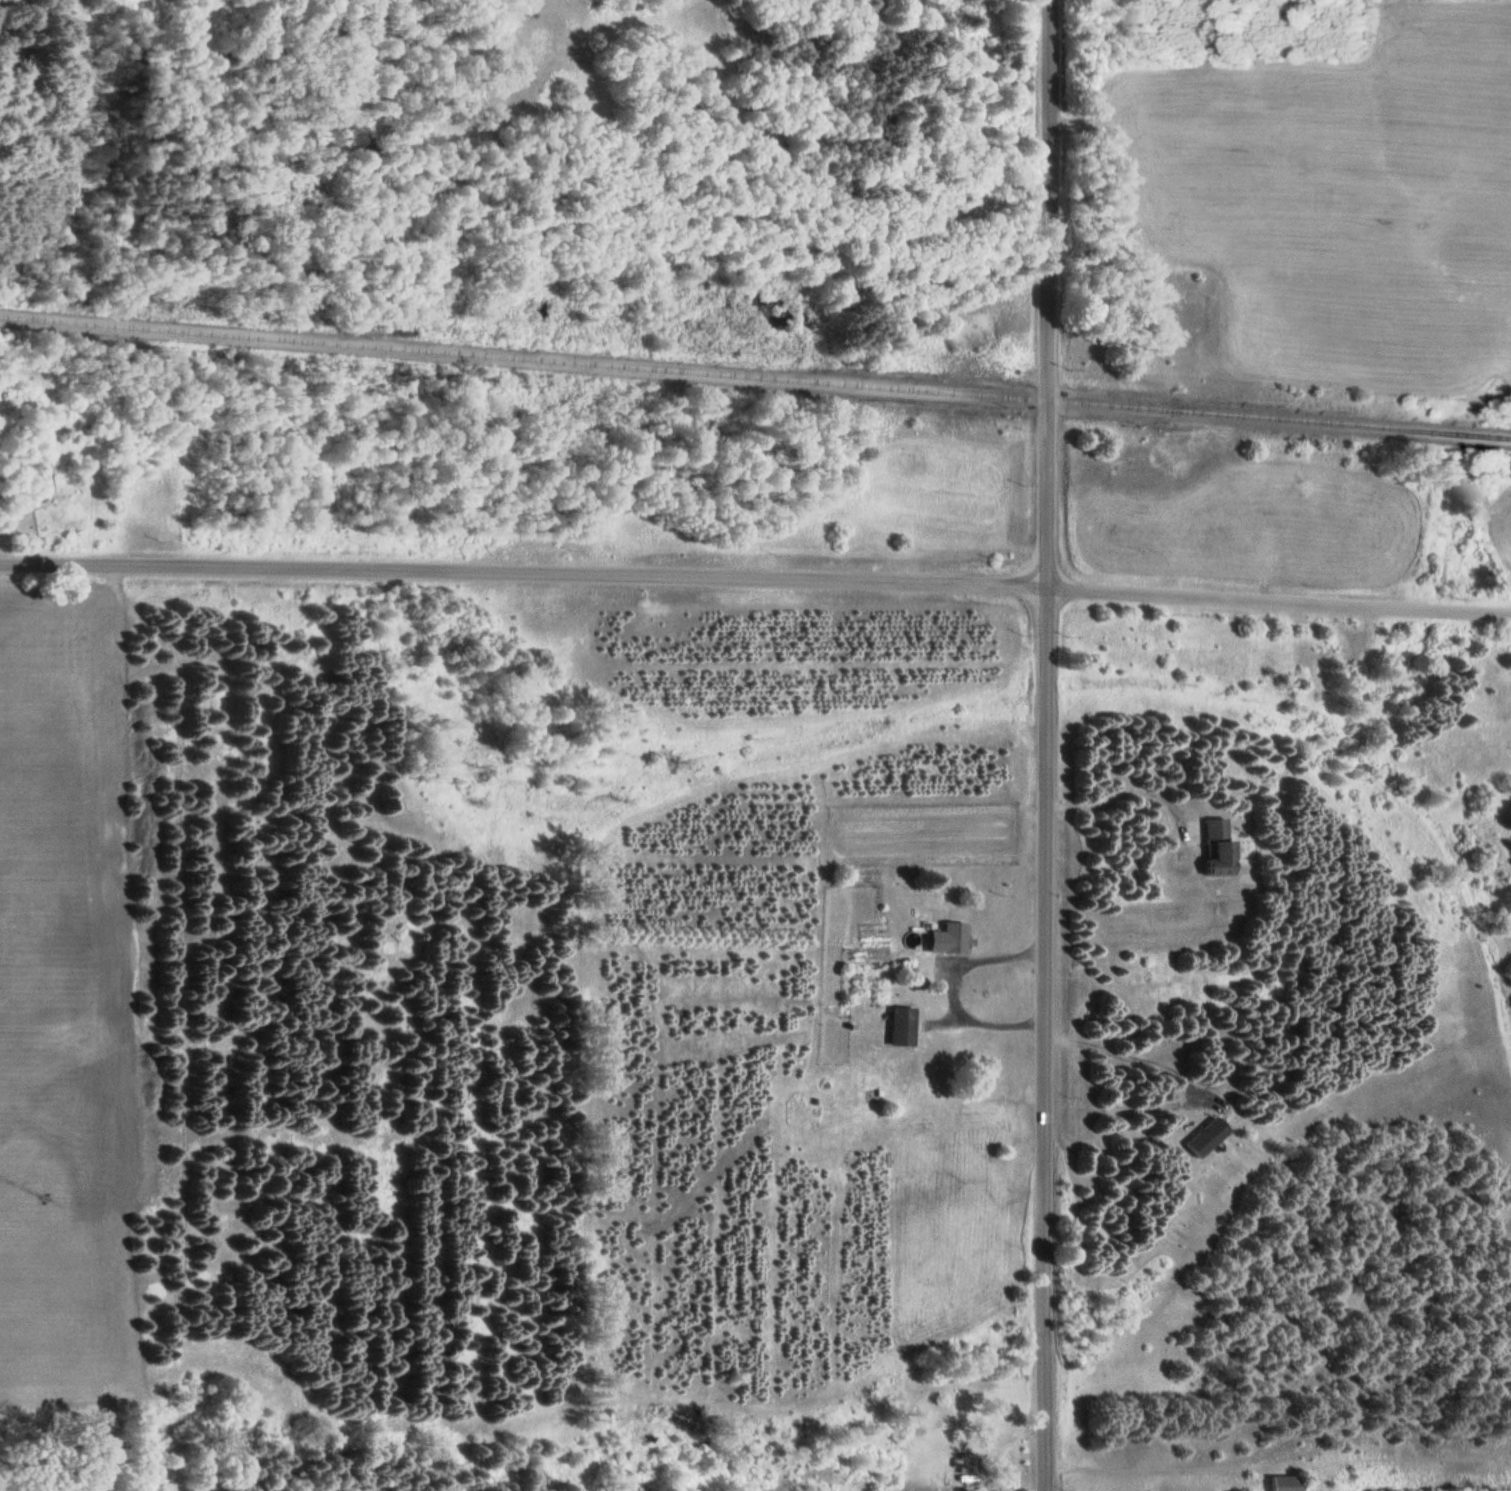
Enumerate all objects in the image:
road: (1044, 293)
railway: (755, 377)
road: (755, 576)
building: (1209, 846)
building: (945, 938)
building: (897, 1026)
road: (1047, 1038)
building: (1201, 1137)
building: (1280, 1483)

